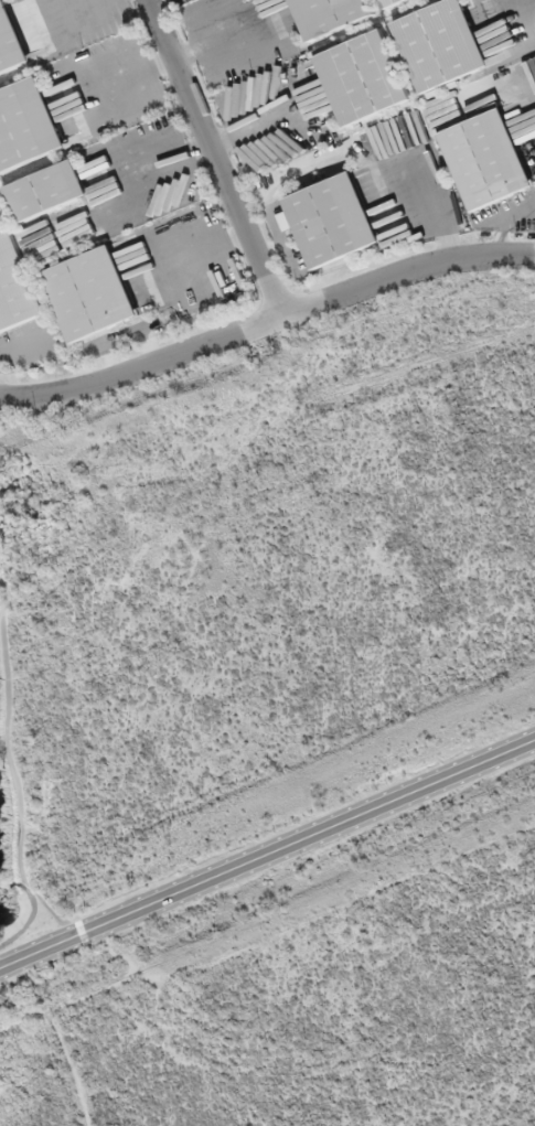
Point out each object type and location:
building: (389, 2)
building: (329, 14)
building: (11, 41)
building: (440, 44)
building: (363, 77)
building: (28, 125)
building: (486, 159)
road: (227, 163)
building: (47, 190)
building: (331, 219)
building: (15, 282)
building: (92, 293)
road: (269, 336)
road: (266, 861)

